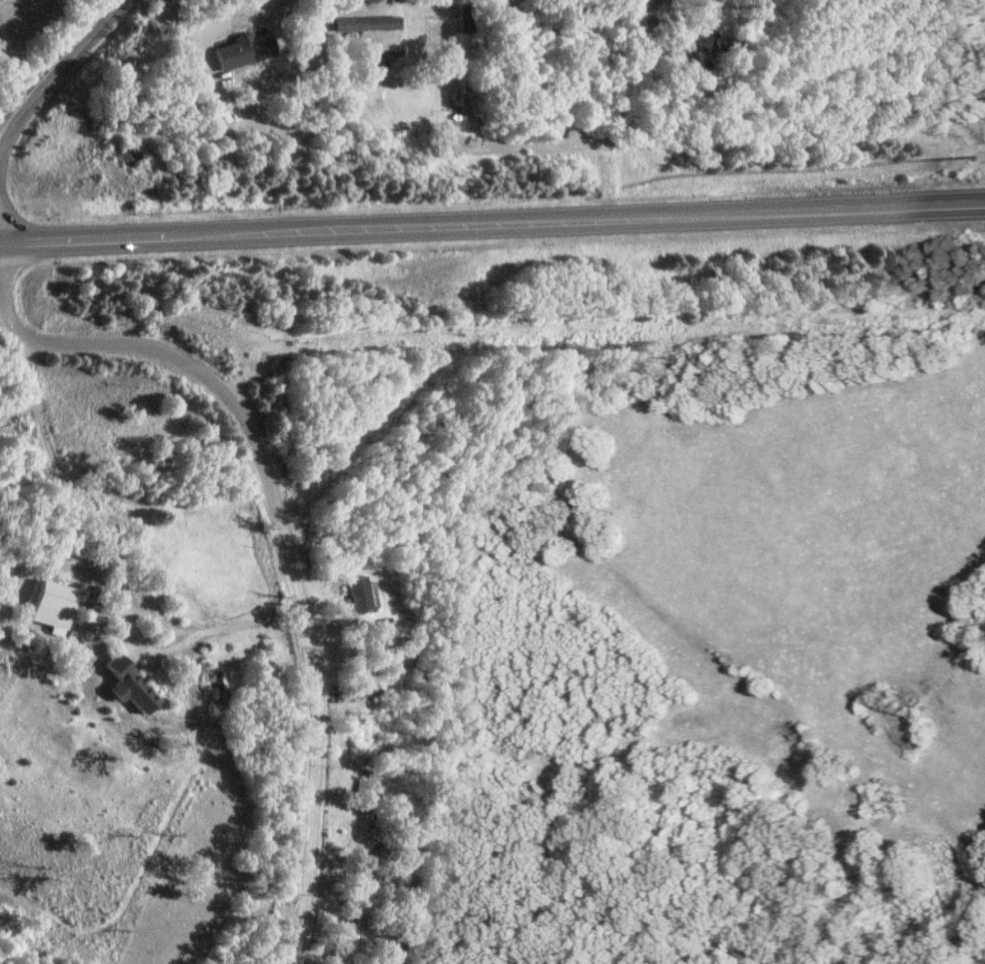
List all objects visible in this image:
building: (640, 5)
building: (365, 23)
road: (195, 25)
park: (31, 28)
building: (706, 38)
building: (243, 50)
road: (55, 71)
building: (216, 111)
road: (0, 144)
road: (492, 221)
road: (280, 546)
road: (118, 555)
building: (357, 594)
building: (53, 605)
building: (130, 686)
building: (365, 785)
building: (357, 934)

